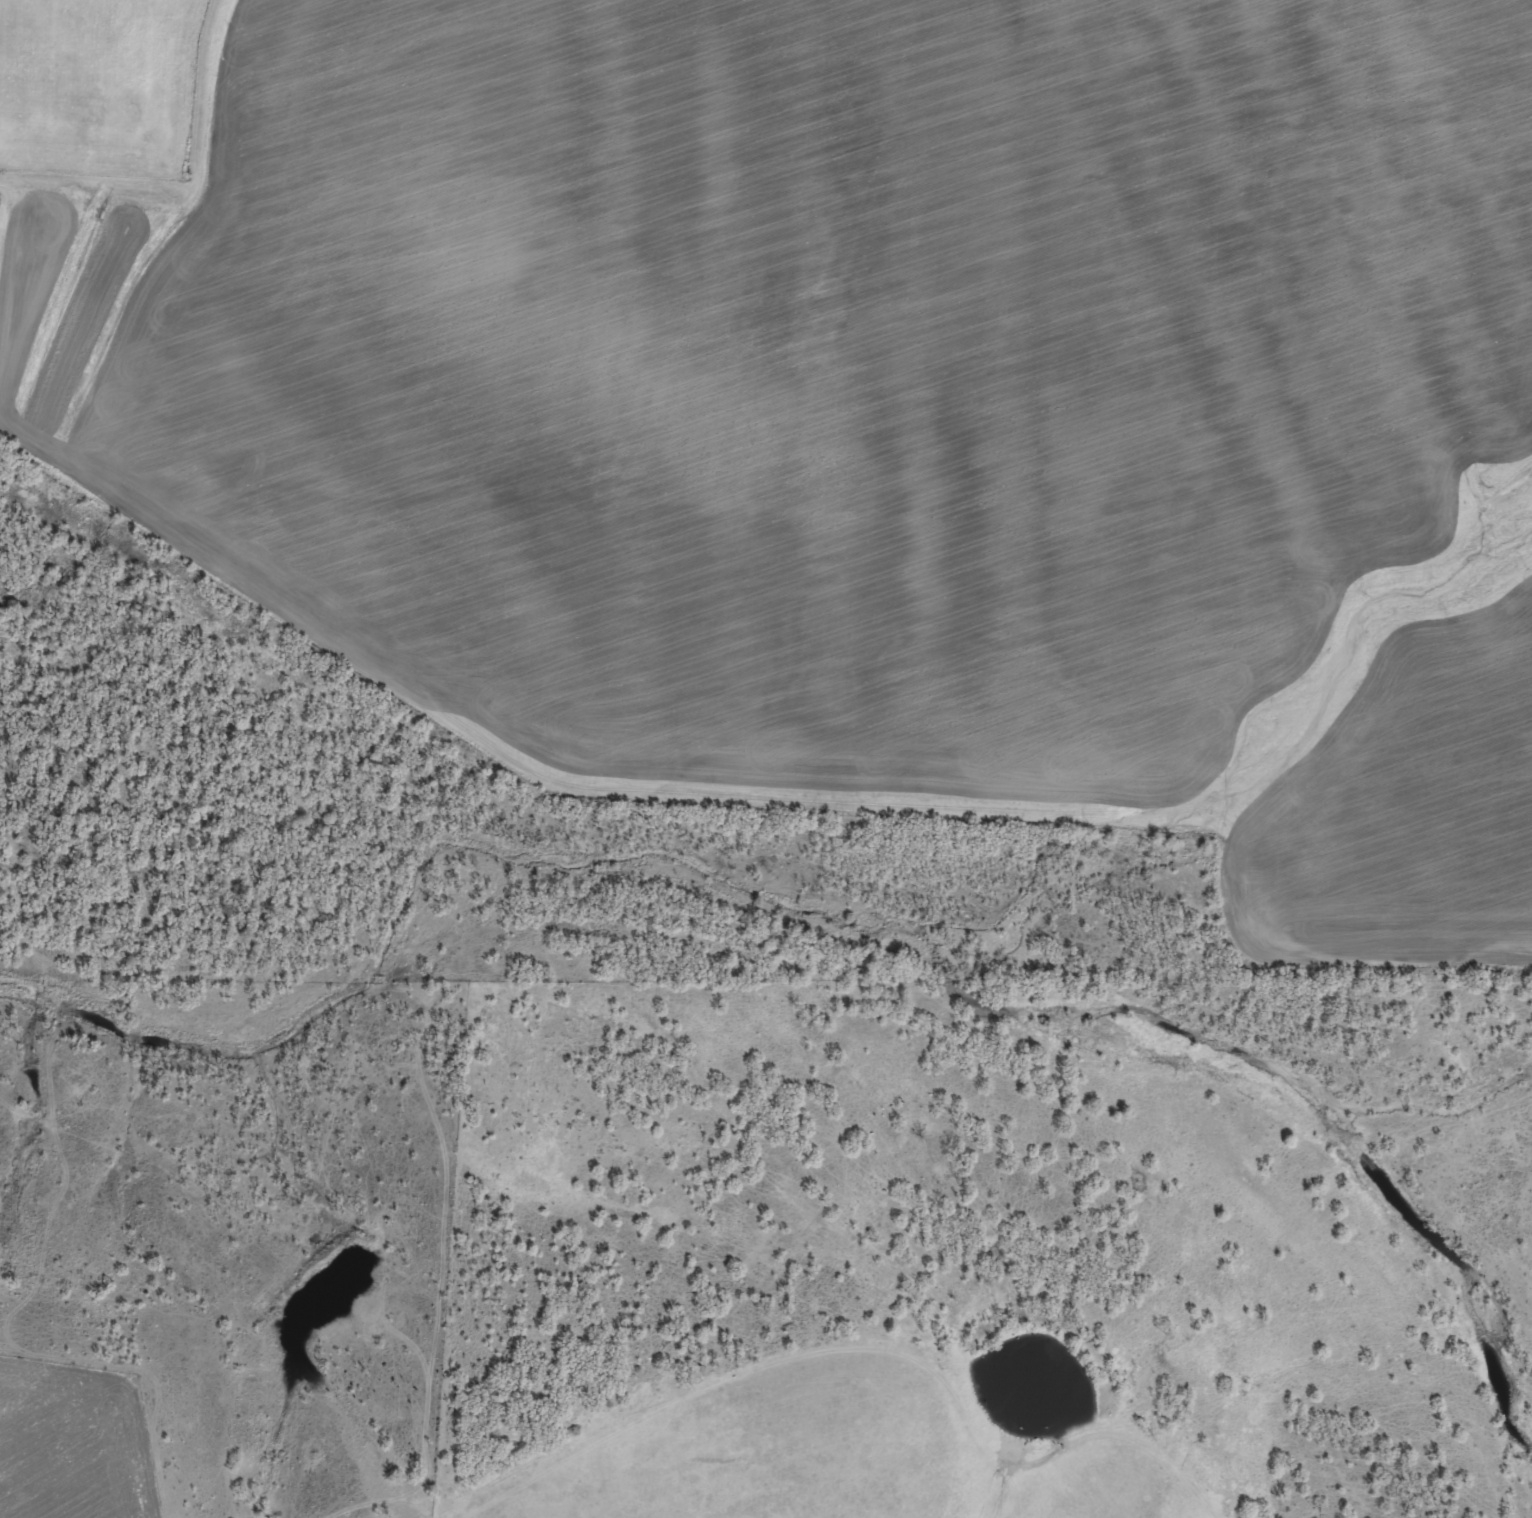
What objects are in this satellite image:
road: (852, 1342)

